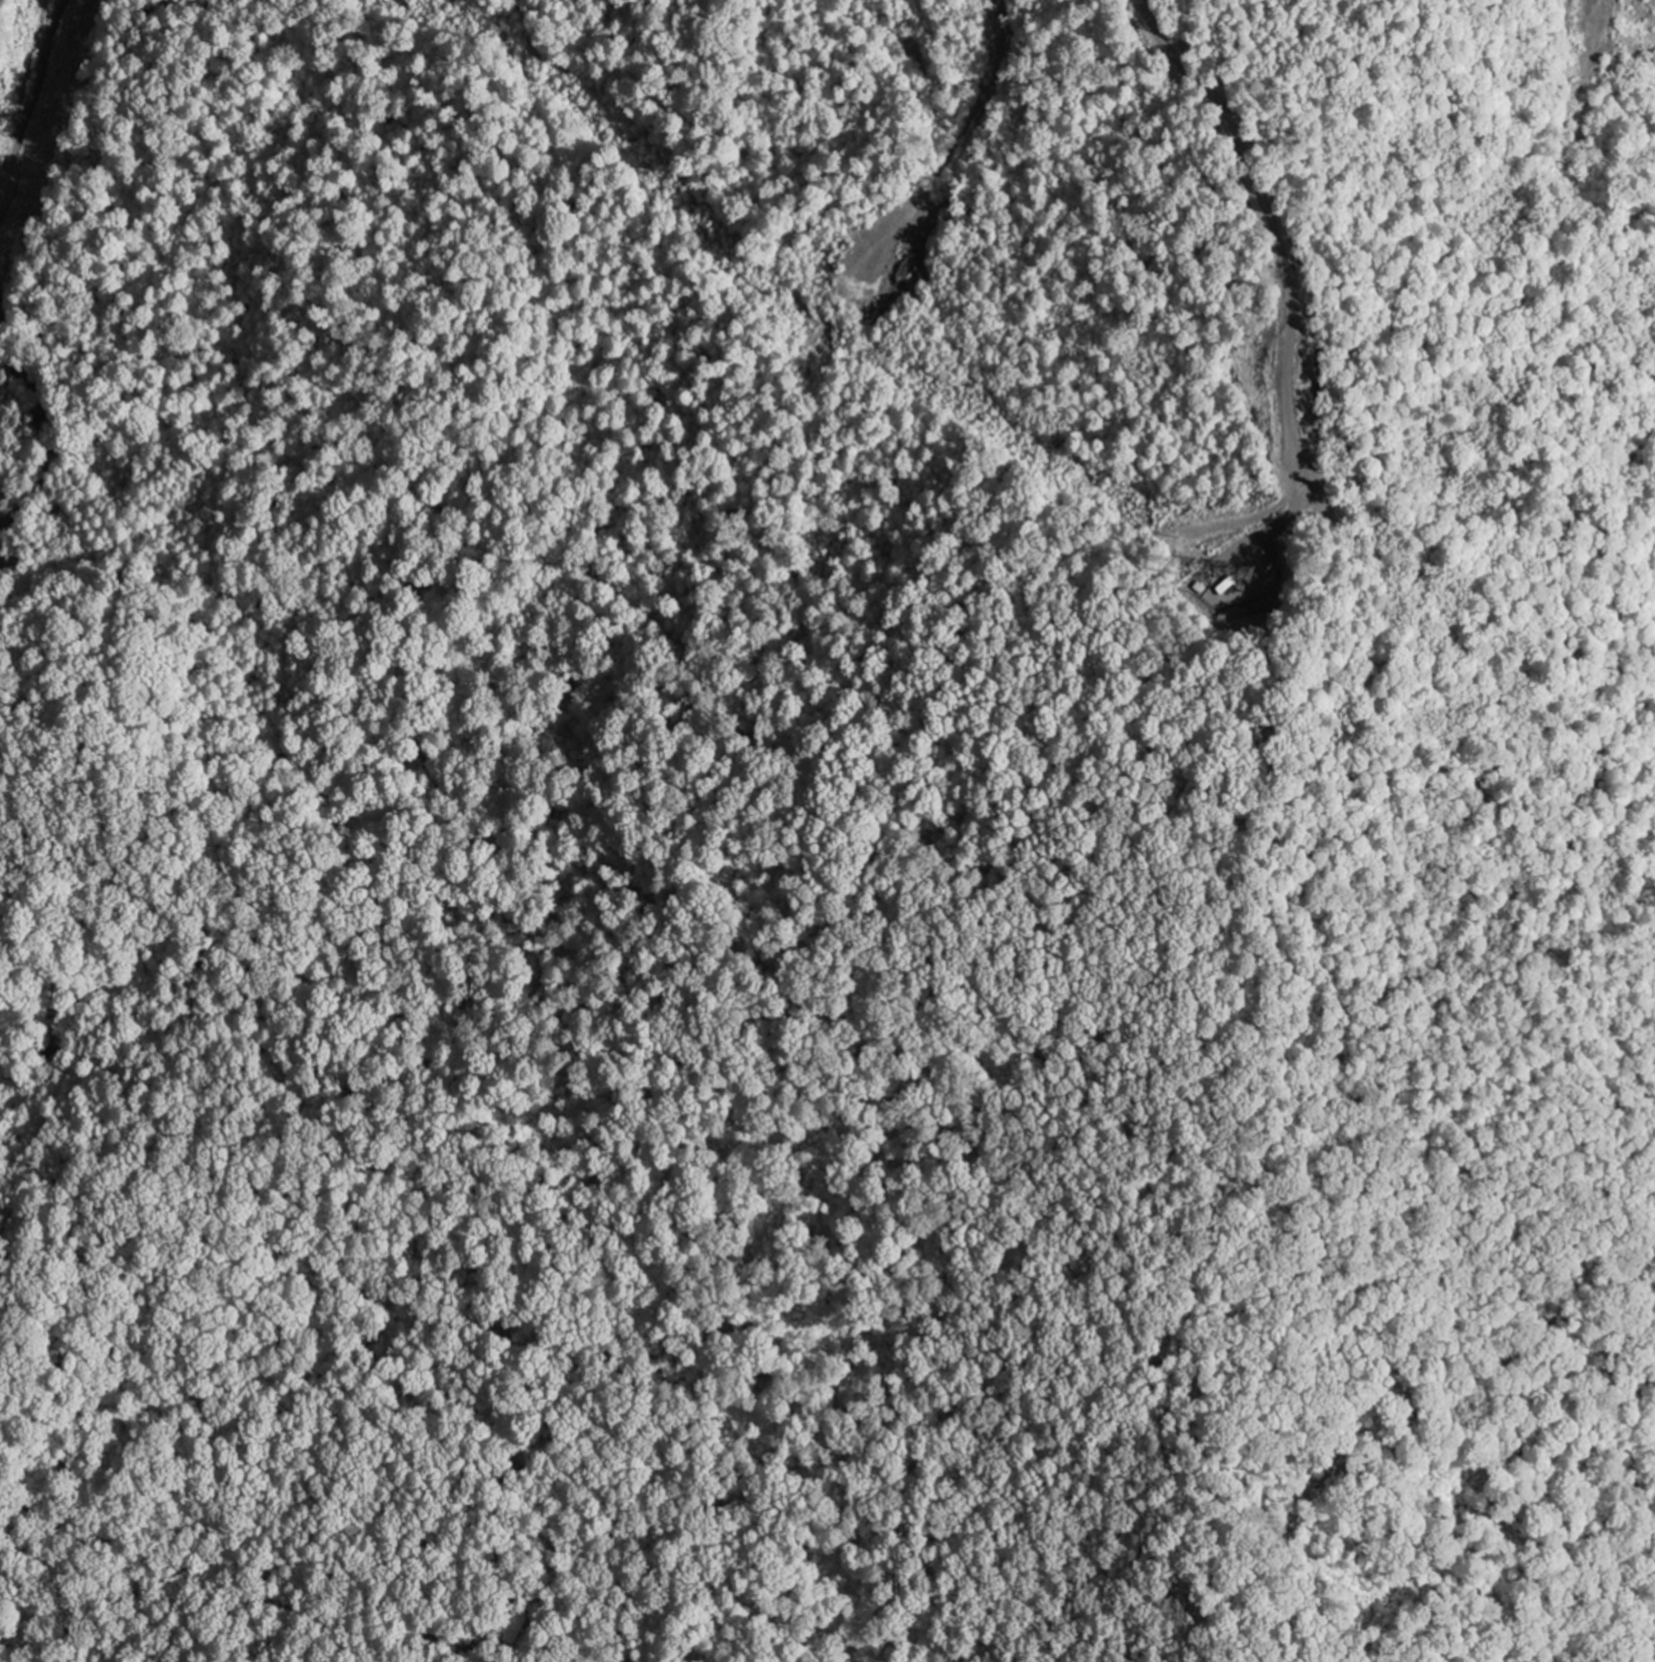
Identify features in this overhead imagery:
road: (1591, 27)
road: (950, 154)
road: (1289, 284)

